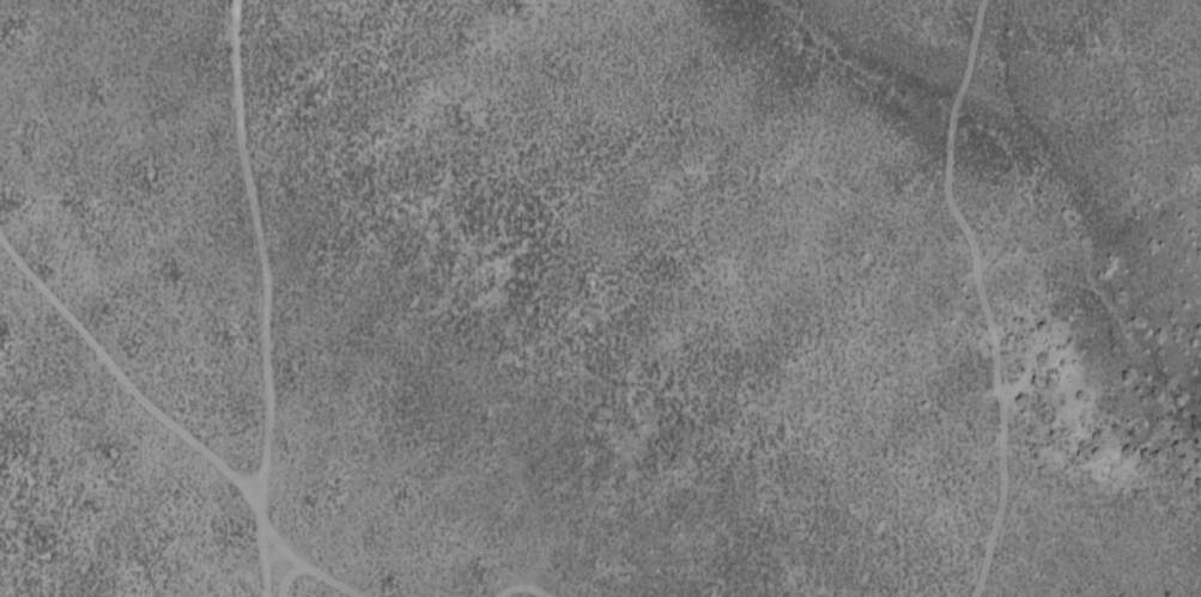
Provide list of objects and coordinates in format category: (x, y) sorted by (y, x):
road: (297, 262)
road: (175, 398)

